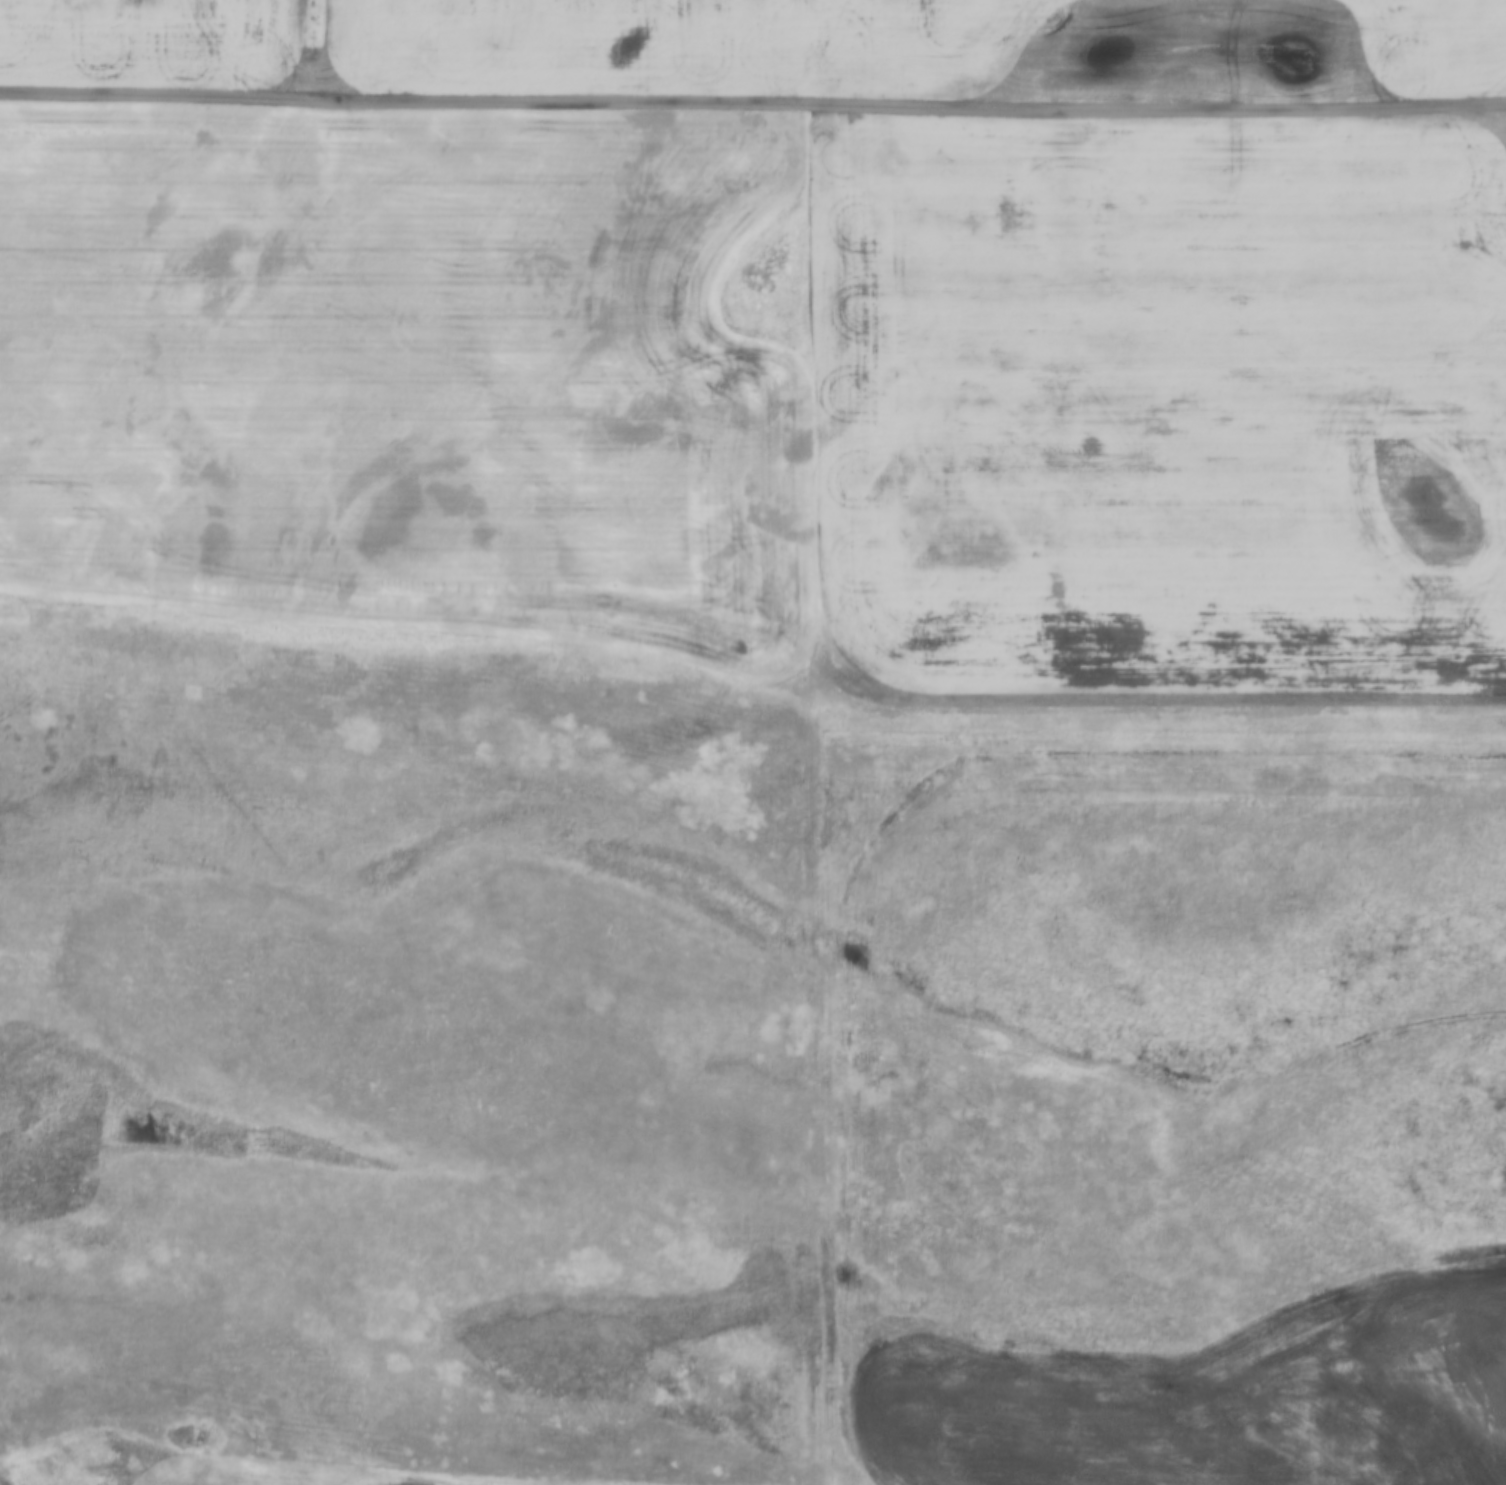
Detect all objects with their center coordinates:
road: (752, 96)

